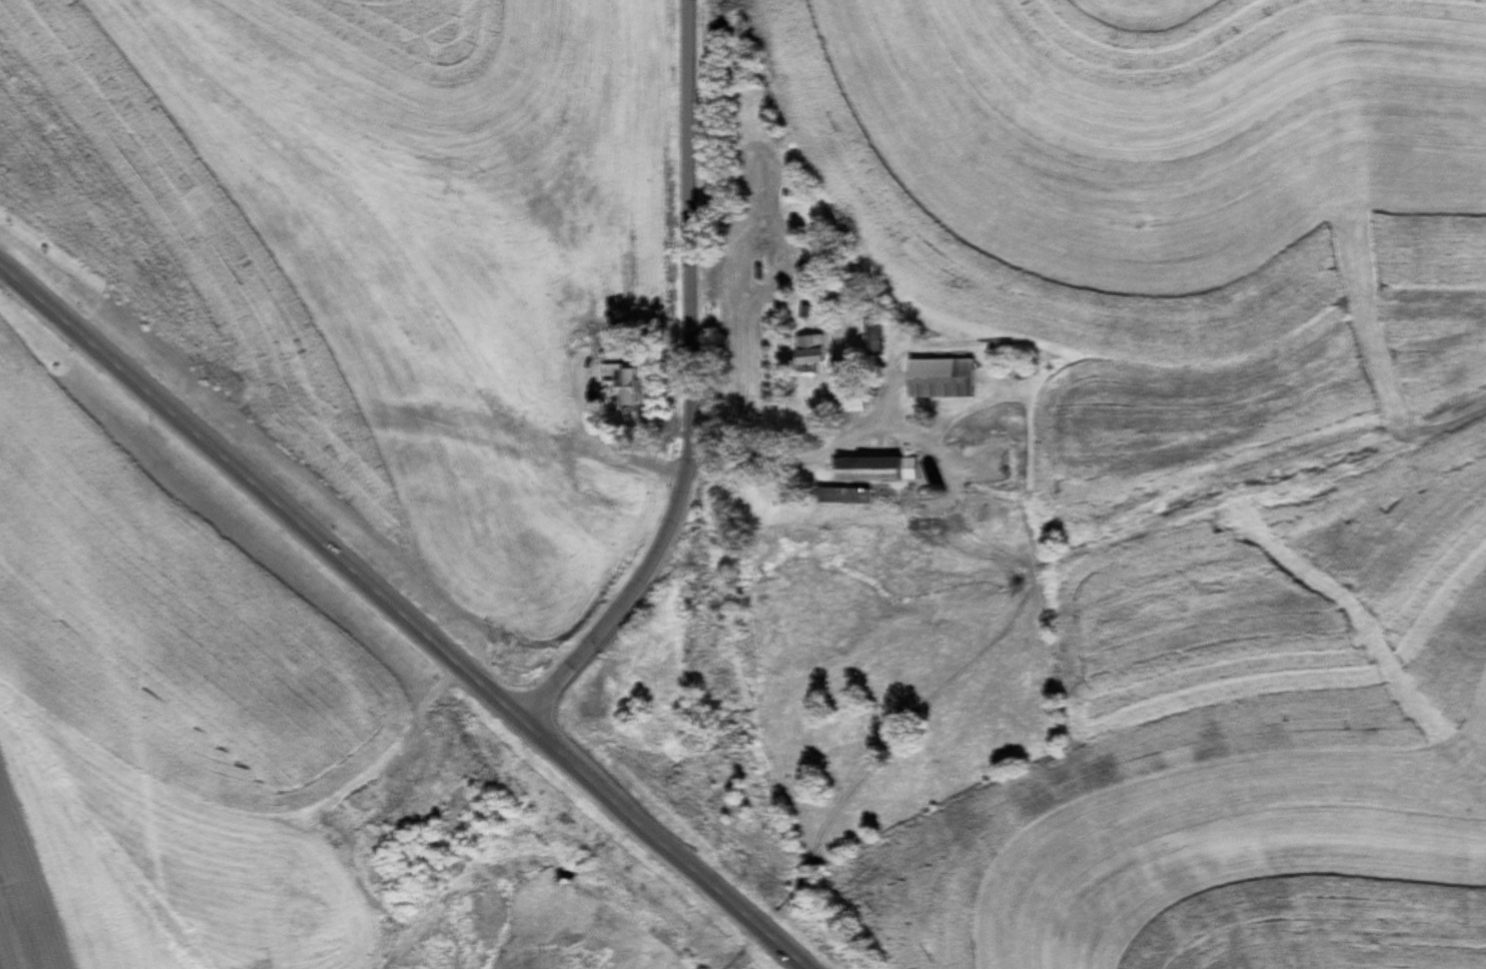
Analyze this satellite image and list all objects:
building: (807, 351)
building: (938, 381)
building: (622, 389)
road: (691, 389)
building: (849, 402)
building: (869, 471)
road: (261, 493)
building: (837, 496)
road: (661, 845)

